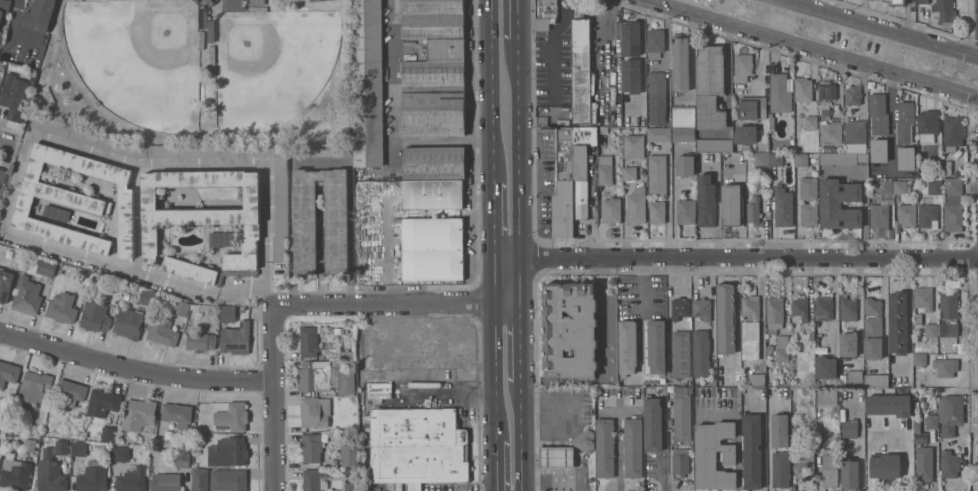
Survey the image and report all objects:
building: (923, 1)
building: (211, 2)
building: (256, 2)
building: (896, 2)
building: (233, 5)
building: (4, 7)
building: (258, 9)
building: (945, 10)
building: (546, 12)
building: (39, 15)
building: (203, 18)
road: (517, 20)
road: (880, 28)
building: (1, 32)
road: (15, 32)
building: (211, 32)
road: (603, 37)
building: (631, 38)
building: (202, 40)
building: (435, 41)
building: (655, 43)
road: (810, 49)
road: (536, 50)
road: (554, 51)
building: (212, 55)
road: (642, 60)
building: (680, 63)
building: (580, 66)
building: (742, 67)
park: (201, 69)
building: (631, 76)
building: (367, 83)
road: (391, 83)
building: (710, 87)
building: (803, 89)
building: (828, 90)
road: (491, 91)
building: (780, 93)
building: (657, 94)
building: (853, 95)
building: (14, 96)
building: (752, 108)
building: (433, 110)
building: (878, 114)
building: (683, 116)
building: (928, 121)
building: (542, 122)
building: (905, 122)
building: (811, 123)
building: (830, 133)
building: (953, 133)
building: (659, 134)
building: (683, 134)
building: (745, 134)
building: (855, 136)
road: (442, 139)
road: (7, 144)
building: (713, 145)
building: (634, 146)
building: (764, 146)
building: (774, 148)
road: (20, 149)
building: (321, 149)
building: (879, 150)
building: (906, 158)
building: (761, 159)
building: (776, 159)
building: (844, 159)
building: (801, 160)
building: (434, 162)
road: (147, 164)
building: (685, 166)
building: (582, 168)
building: (605, 170)
road: (518, 172)
building: (629, 173)
building: (956, 174)
building: (2, 175)
building: (657, 176)
road: (17, 182)
building: (564, 185)
building: (884, 186)
building: (903, 187)
building: (934, 187)
building: (808, 188)
building: (432, 194)
building: (280, 196)
road: (668, 200)
building: (75, 201)
building: (706, 201)
building: (839, 204)
building: (732, 205)
building: (636, 206)
building: (783, 206)
building: (952, 206)
building: (611, 211)
building: (686, 211)
road: (267, 212)
building: (656, 212)
building: (754, 212)
building: (56, 213)
building: (808, 214)
building: (879, 215)
building: (907, 215)
building: (928, 216)
building: (201, 218)
road: (137, 219)
road: (494, 223)
building: (336, 229)
building: (222, 238)
building: (432, 249)
road: (736, 260)
road: (389, 261)
road: (107, 265)
building: (46, 267)
building: (234, 274)
road: (267, 284)
building: (5, 285)
road: (641, 289)
road: (240, 292)
building: (27, 295)
building: (127, 296)
building: (147, 297)
building: (923, 299)
road: (601, 300)
building: (948, 300)
road: (393, 306)
building: (750, 306)
building: (62, 308)
building: (181, 308)
building: (679, 308)
building: (702, 308)
building: (799, 308)
building: (823, 308)
building: (847, 308)
road: (761, 312)
building: (226, 313)
building: (774, 314)
building: (95, 316)
building: (726, 318)
road: (884, 319)
building: (128, 323)
building: (898, 323)
building: (873, 329)
building: (948, 329)
building: (931, 330)
building: (162, 331)
building: (339, 331)
building: (577, 336)
building: (236, 339)
building: (750, 340)
building: (200, 341)
building: (309, 342)
building: (848, 343)
road: (519, 344)
building: (949, 344)
building: (627, 347)
building: (656, 347)
building: (770, 348)
building: (782, 348)
road: (495, 352)
building: (681, 353)
building: (701, 353)
building: (346, 355)
building: (919, 359)
building: (826, 367)
building: (945, 367)
road: (134, 369)
building: (8, 373)
building: (325, 377)
building: (855, 377)
building: (921, 378)
building: (756, 379)
building: (662, 380)
building: (876, 380)
building: (696, 382)
building: (713, 383)
building: (33, 389)
building: (377, 390)
building: (867, 391)
building: (69, 393)
road: (447, 396)
building: (827, 397)
road: (273, 401)
building: (103, 402)
building: (882, 403)
building: (315, 411)
building: (138, 414)
building: (177, 414)
building: (681, 414)
building: (950, 414)
building: (237, 416)
building: (931, 422)
building: (653, 424)
building: (906, 428)
building: (849, 429)
building: (108, 433)
building: (798, 433)
building: (917, 434)
road: (564, 435)
road: (520, 436)
building: (584, 440)
road: (768, 441)
building: (29, 445)
road: (618, 445)
building: (312, 446)
building: (417, 446)
building: (61, 447)
building: (605, 447)
building: (633, 447)
building: (79, 448)
building: (881, 450)
building: (752, 451)
building: (780, 451)
building: (228, 452)
building: (119, 453)
building: (349, 455)
building: (714, 455)
building: (557, 457)
building: (182, 460)
building: (680, 461)
building: (805, 462)
building: (924, 464)
building: (949, 464)
road: (496, 466)
building: (885, 467)
building: (830, 470)
building: (50, 473)
building: (15, 474)
road: (664, 474)
building: (849, 474)
building: (93, 477)
building: (200, 479)
building: (132, 480)
building: (229, 480)
building: (311, 480)
building: (166, 481)
road: (538, 483)
building: (351, 486)

